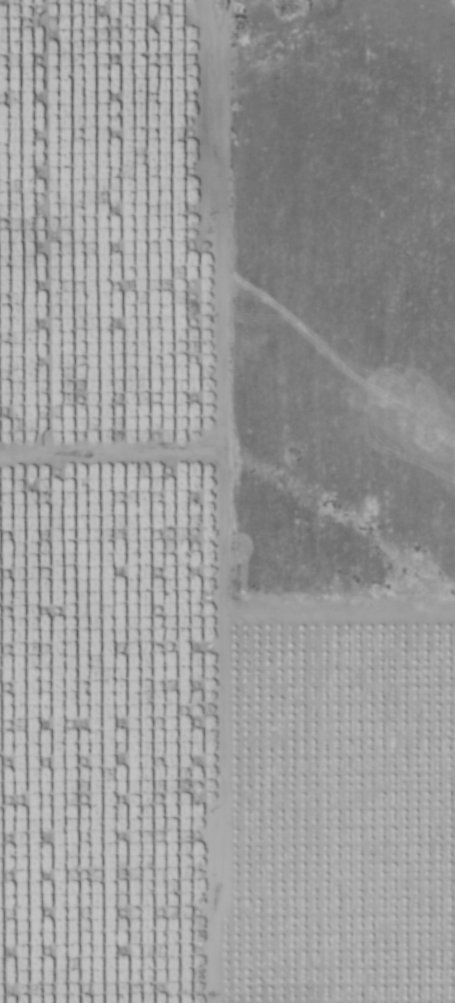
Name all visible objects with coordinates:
road: (222, 501)

